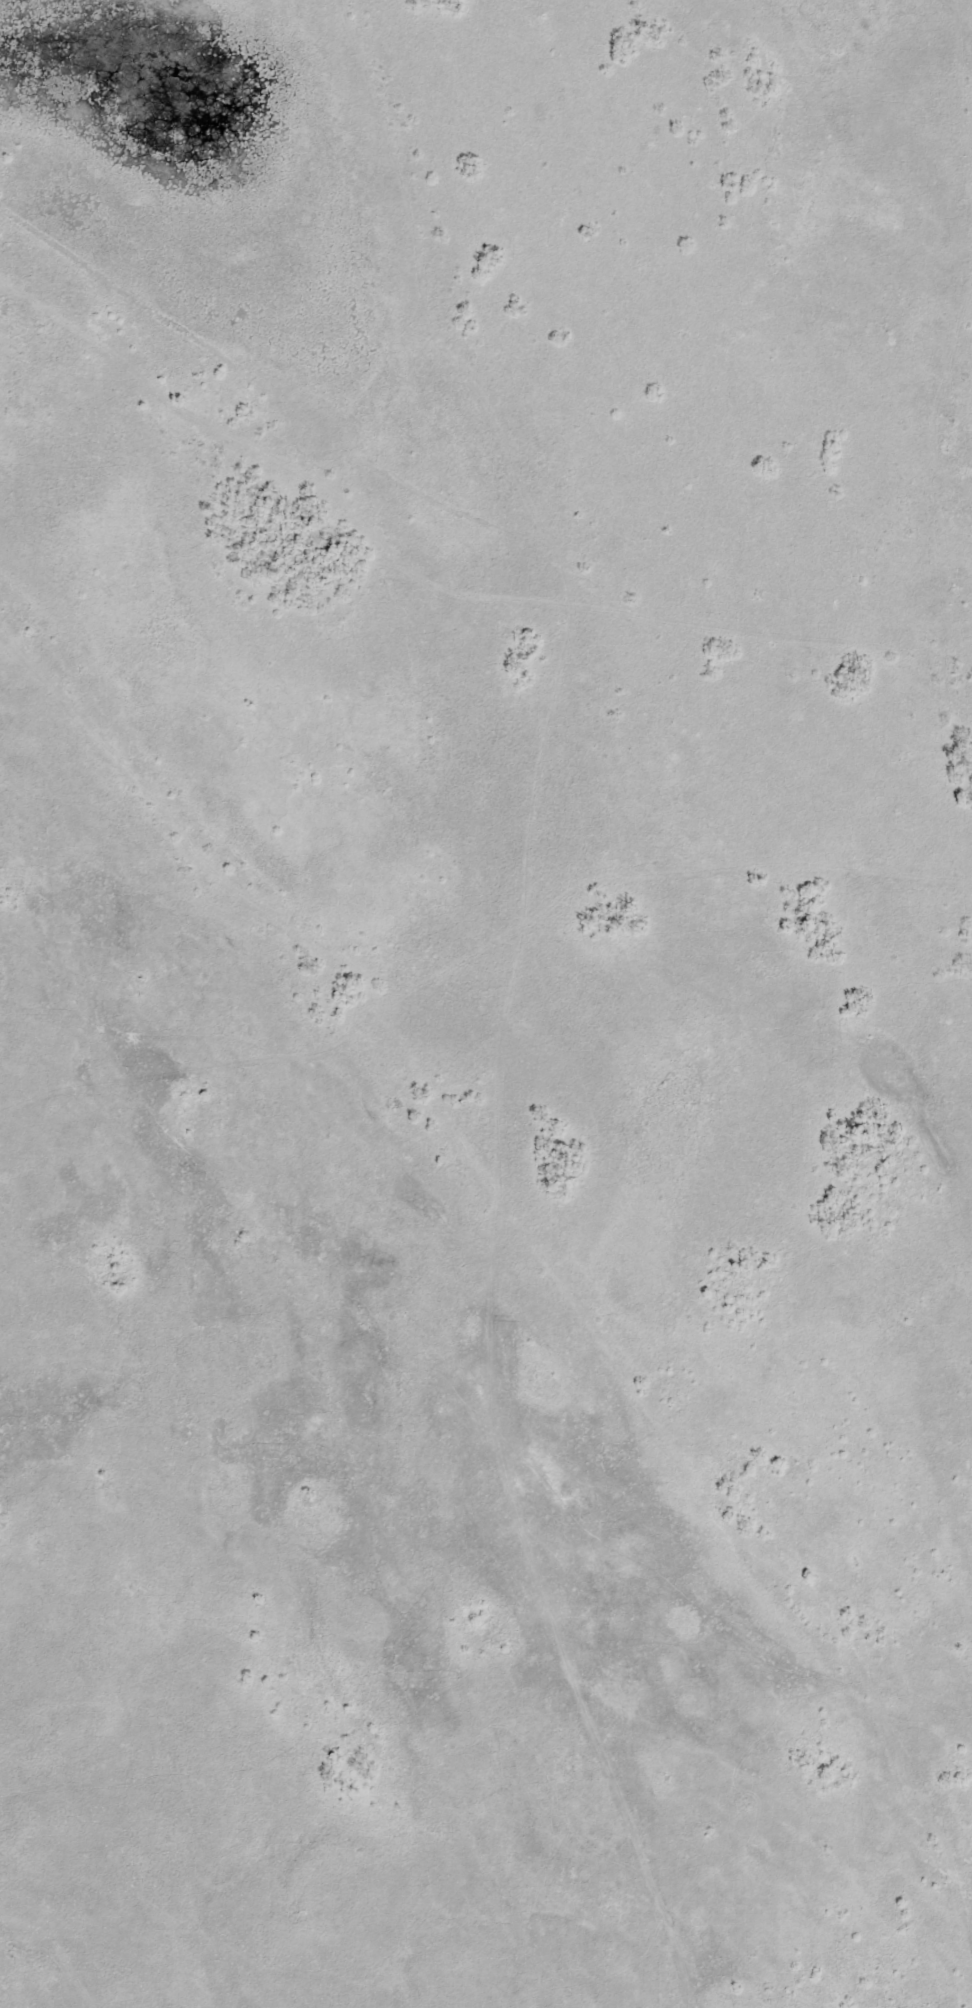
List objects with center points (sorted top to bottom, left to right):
road: (492, 583)

